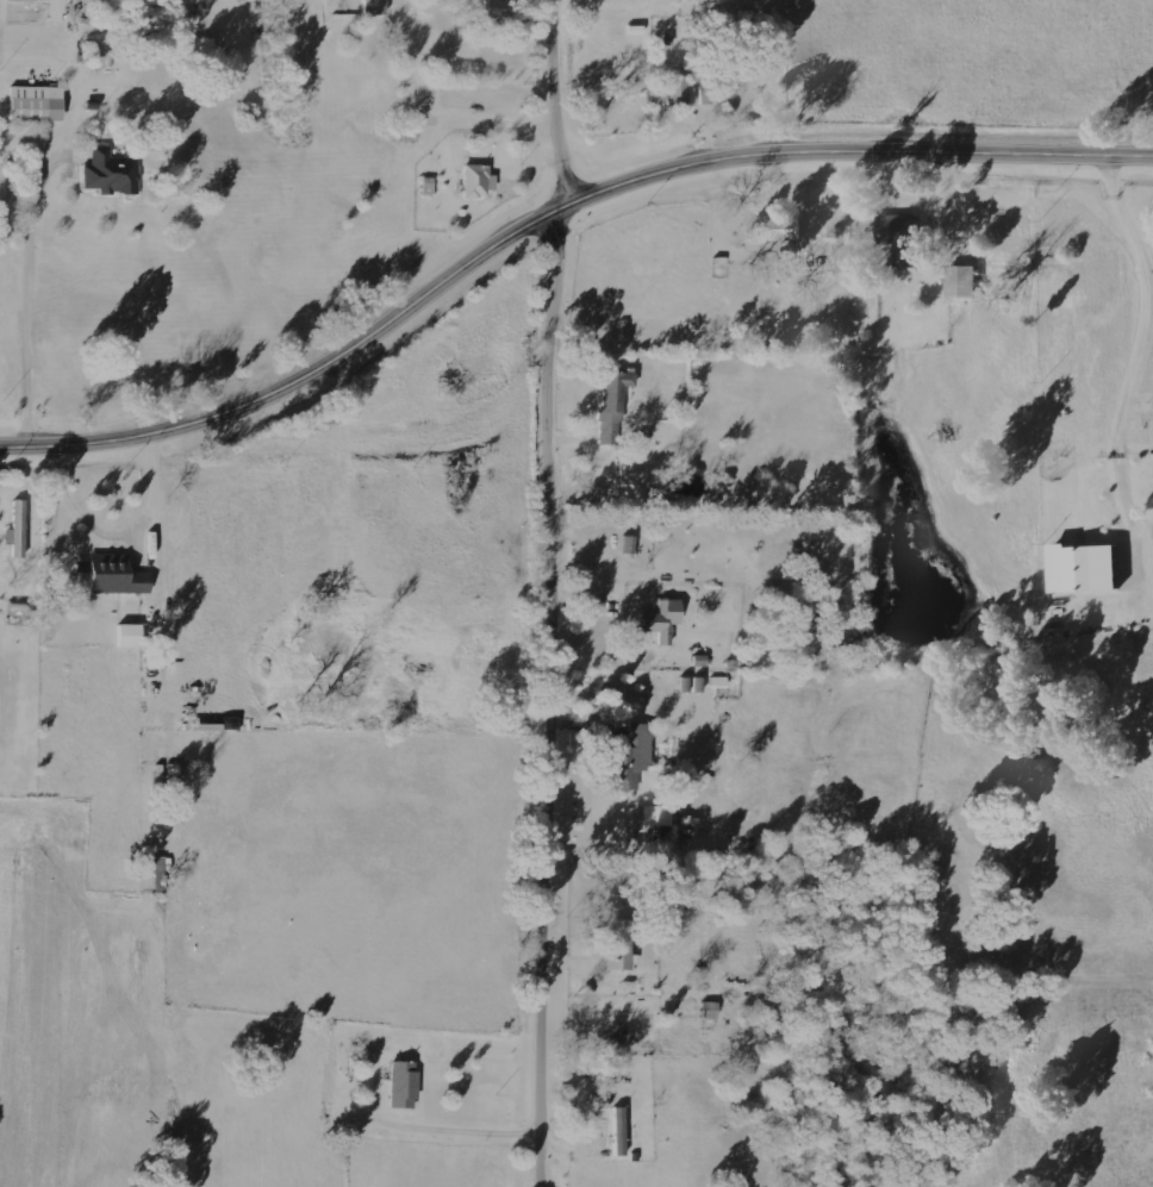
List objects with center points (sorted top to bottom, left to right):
building: (373, 7)
building: (500, 8)
building: (677, 89)
building: (705, 93)
building: (37, 102)
building: (111, 171)
building: (475, 180)
road: (559, 208)
road: (551, 213)
building: (785, 226)
building: (906, 238)
building: (613, 405)
building: (18, 527)
building: (1090, 567)
building: (117, 574)
building: (19, 605)
building: (663, 618)
building: (130, 635)
building: (632, 756)
road: (557, 802)
building: (656, 814)
building: (619, 944)
building: (404, 1083)
building: (618, 1130)

